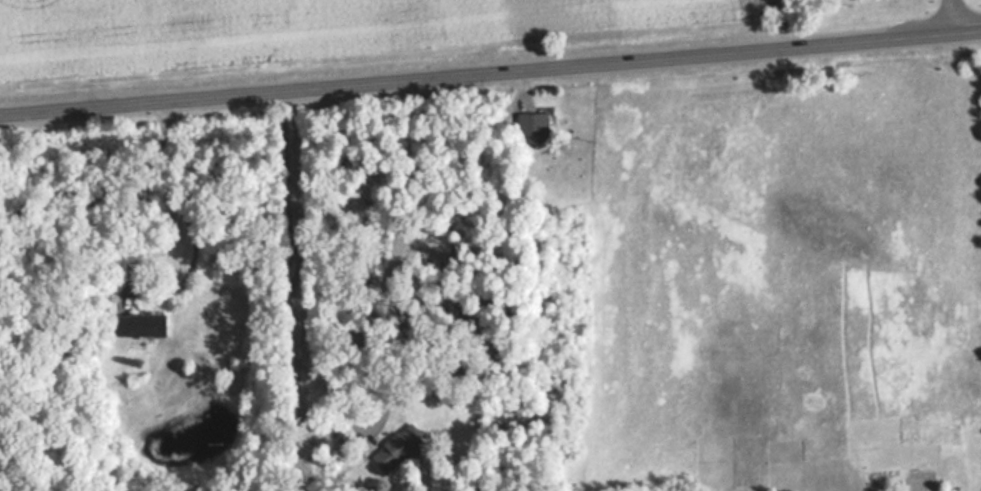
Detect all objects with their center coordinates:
road: (950, 16)
road: (490, 73)
building: (532, 126)
road: (189, 212)
building: (137, 324)
building: (396, 447)

